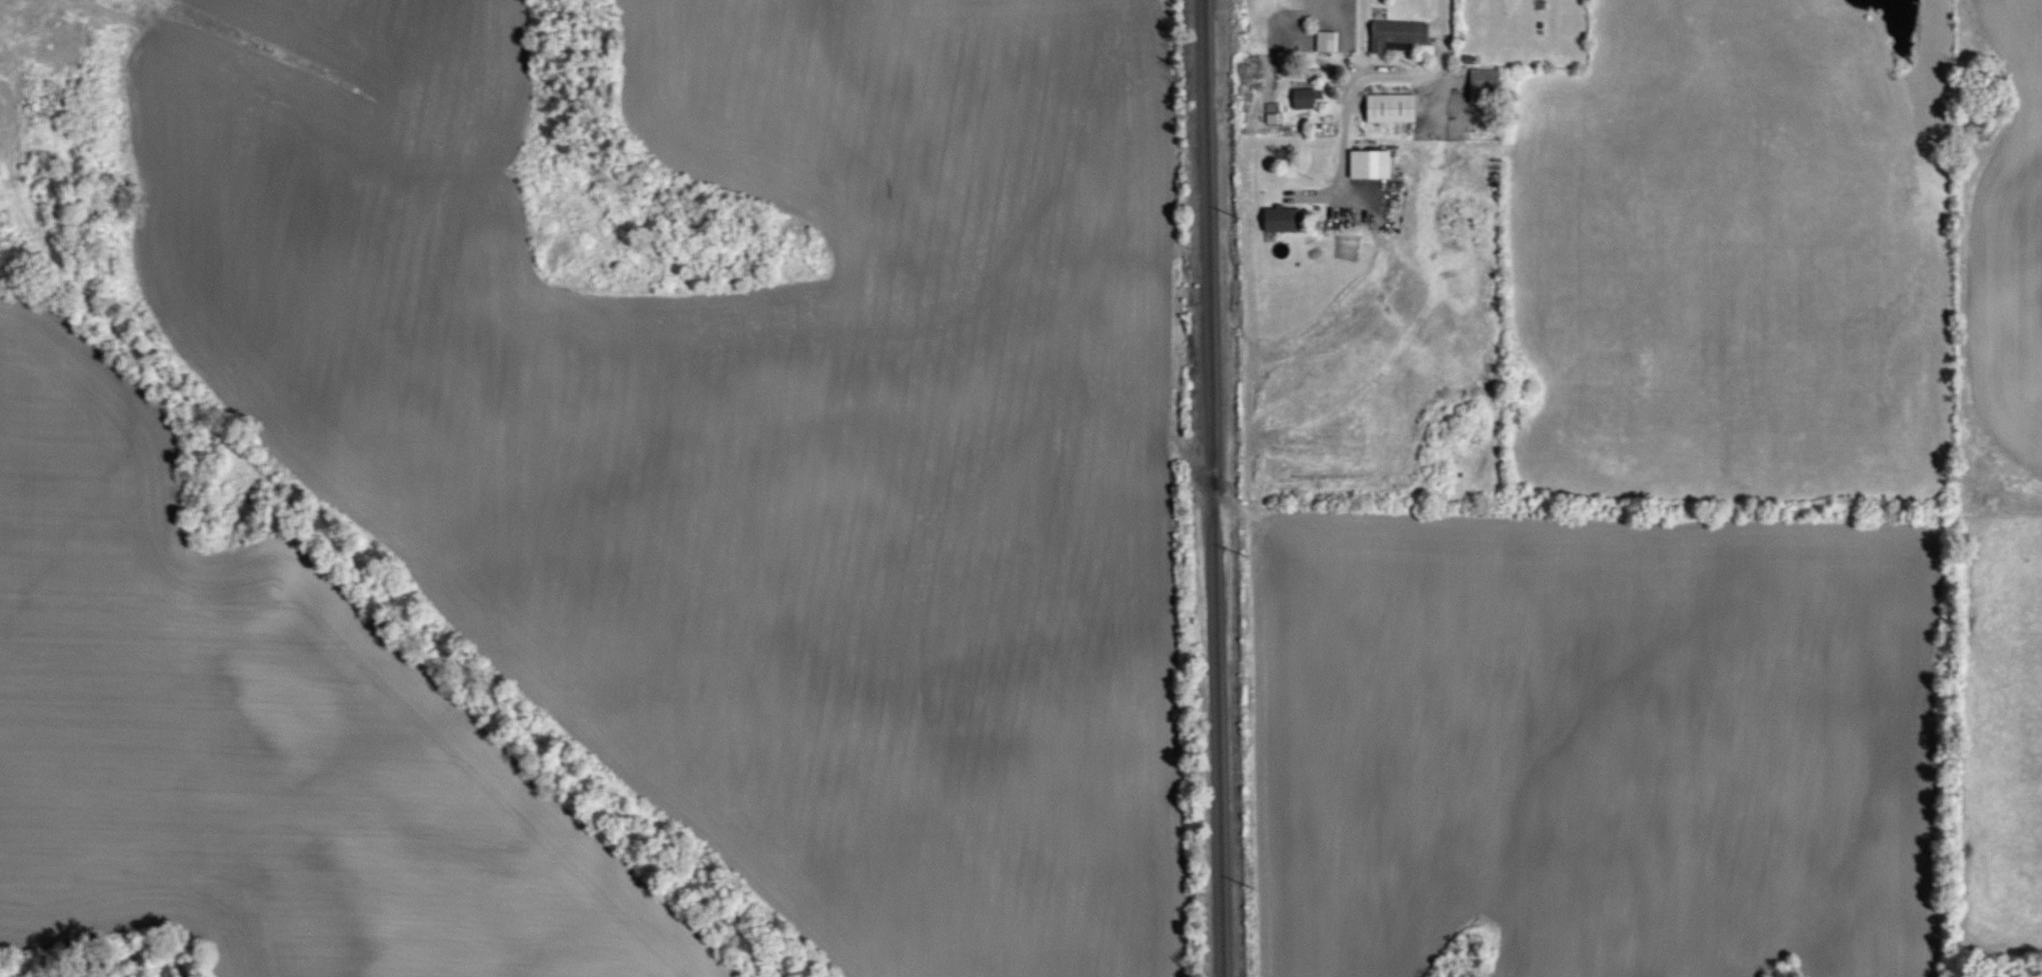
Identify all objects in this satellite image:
building: (1403, 32)
road: (1371, 76)
building: (1311, 98)
building: (1397, 108)
building: (1257, 124)
building: (1371, 164)
building: (1287, 219)
railway: (1212, 488)

